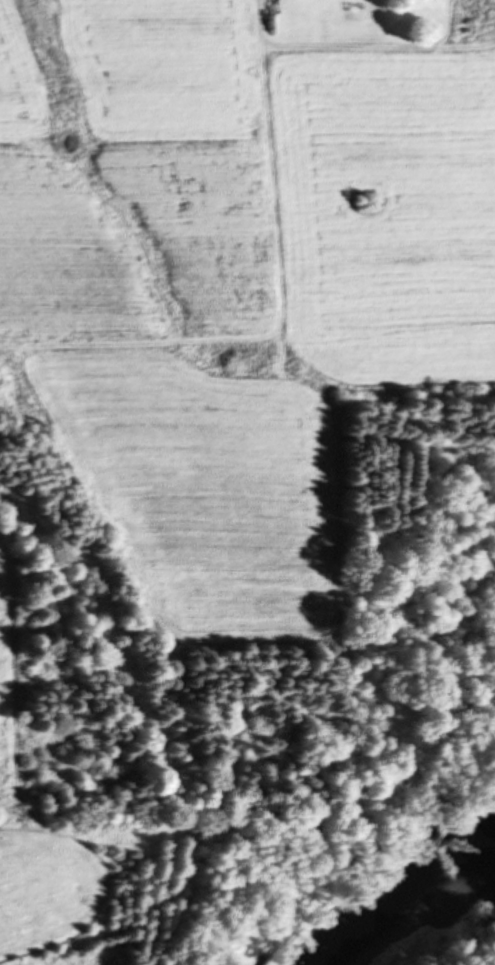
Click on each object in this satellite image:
river: (443, 921)

